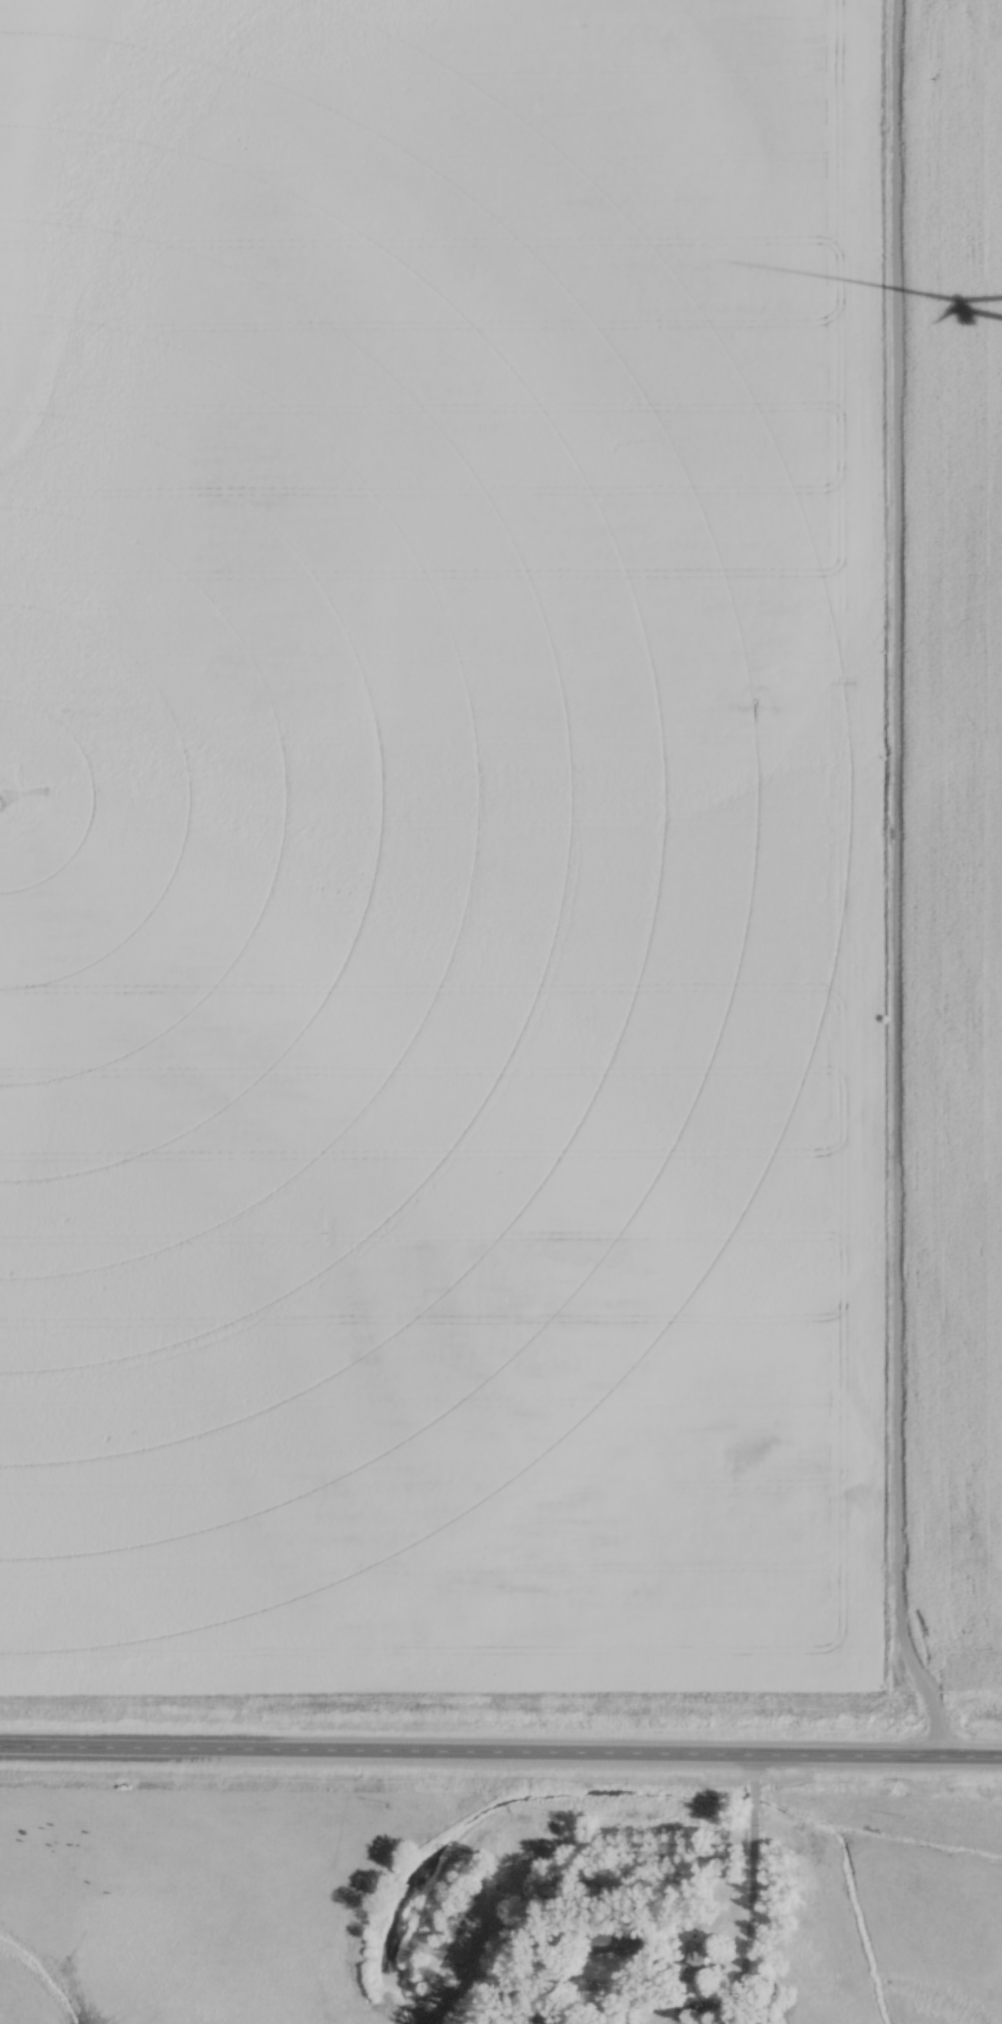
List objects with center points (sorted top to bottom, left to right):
road: (501, 1758)
road: (754, 1905)
building: (698, 1961)

